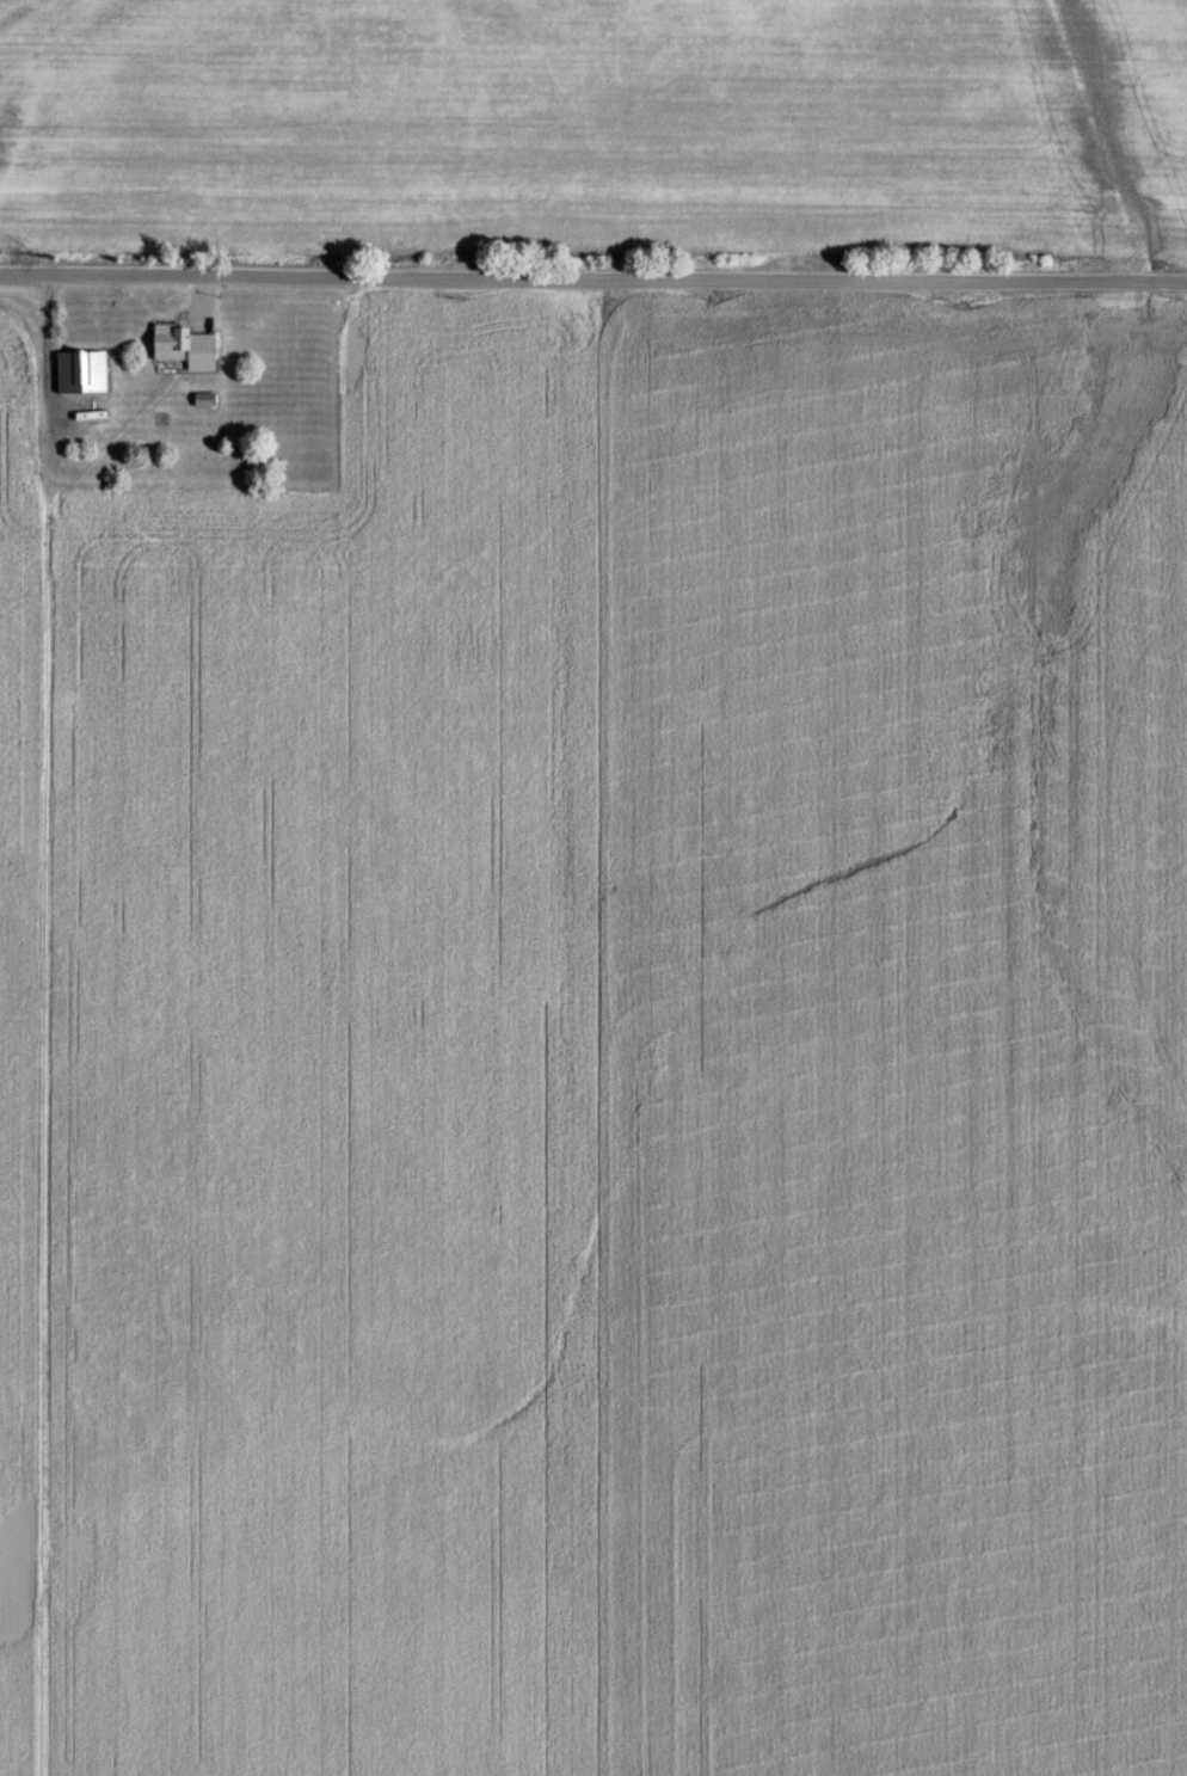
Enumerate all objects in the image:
road: (592, 276)
building: (191, 352)
building: (87, 377)

